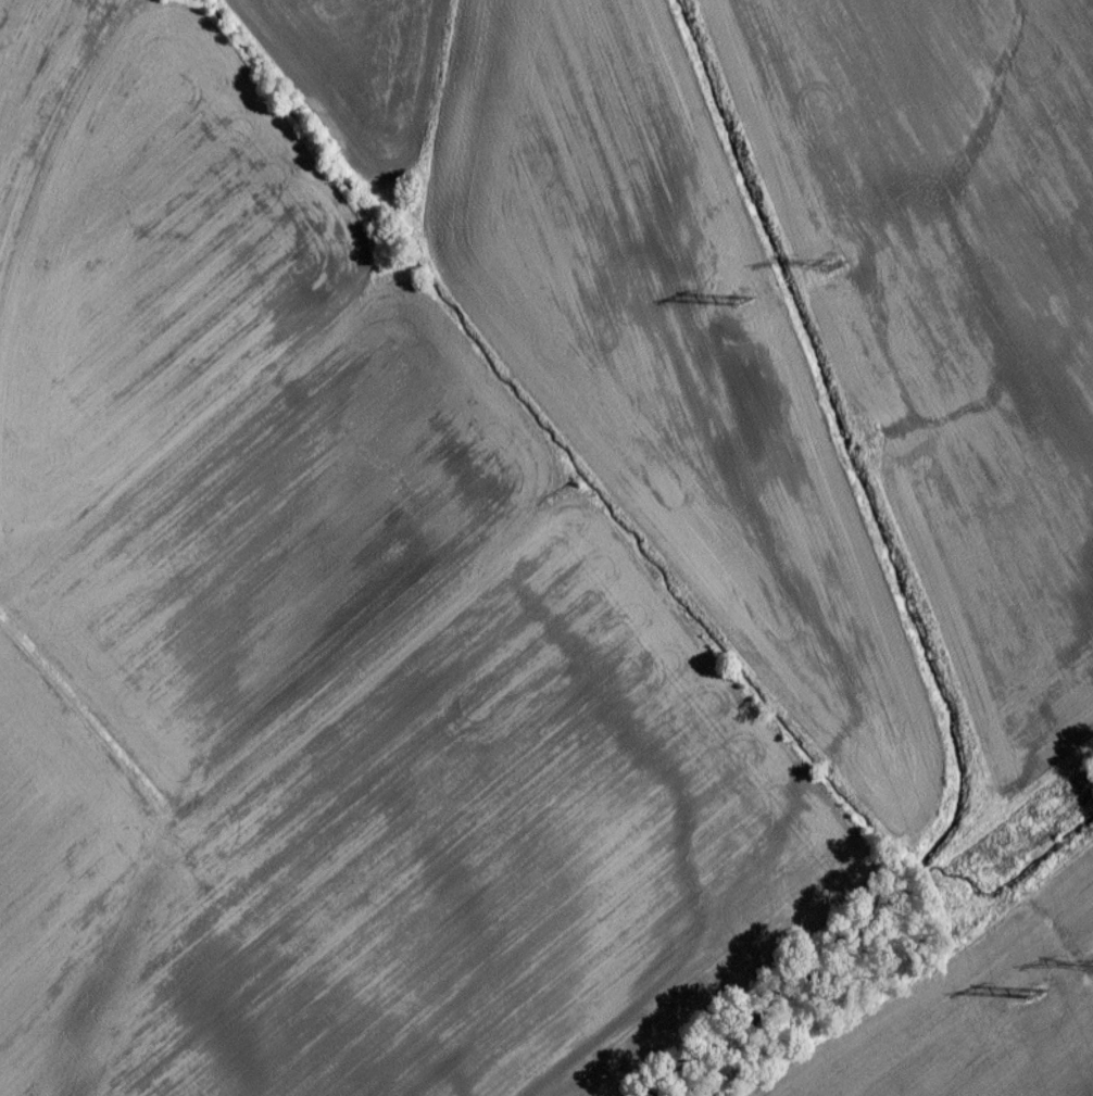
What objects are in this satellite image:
power tower: (828, 275)
power tower: (738, 308)
power tower: (1029, 1004)

